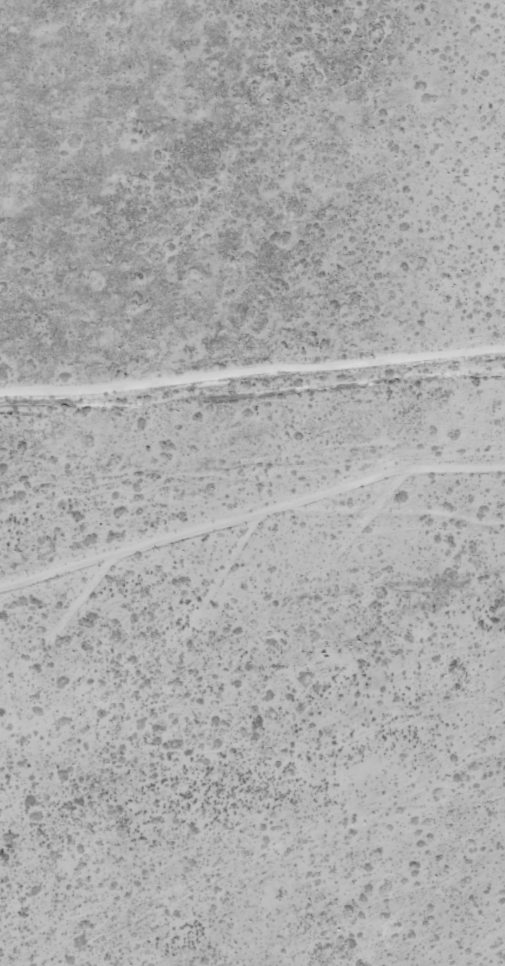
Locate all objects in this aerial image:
road: (252, 364)

